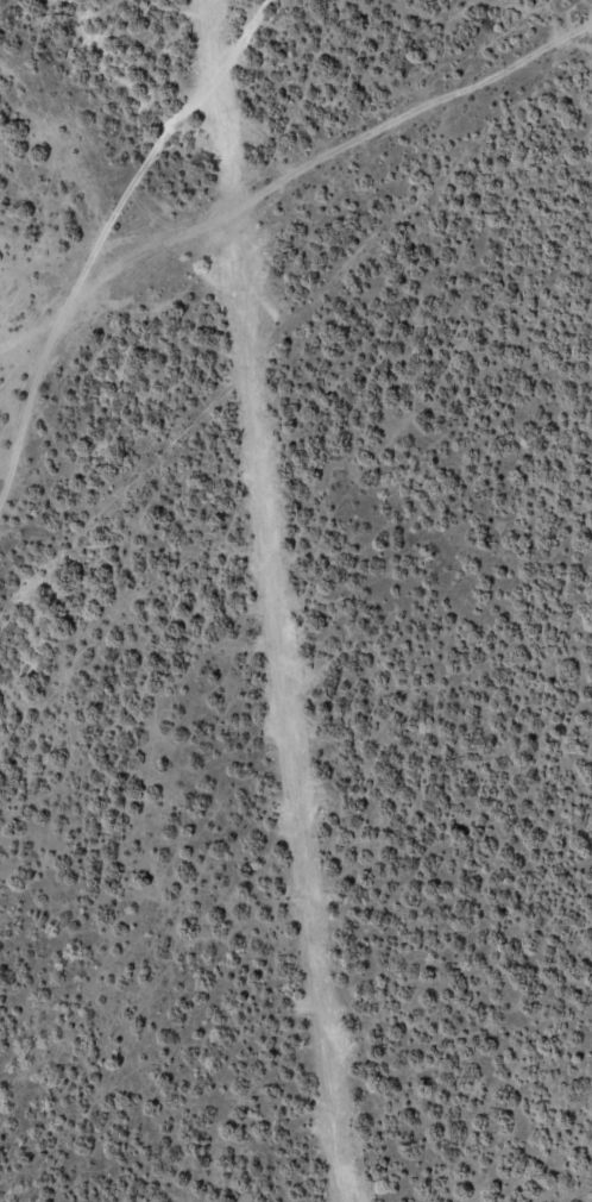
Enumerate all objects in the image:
road: (124, 262)

